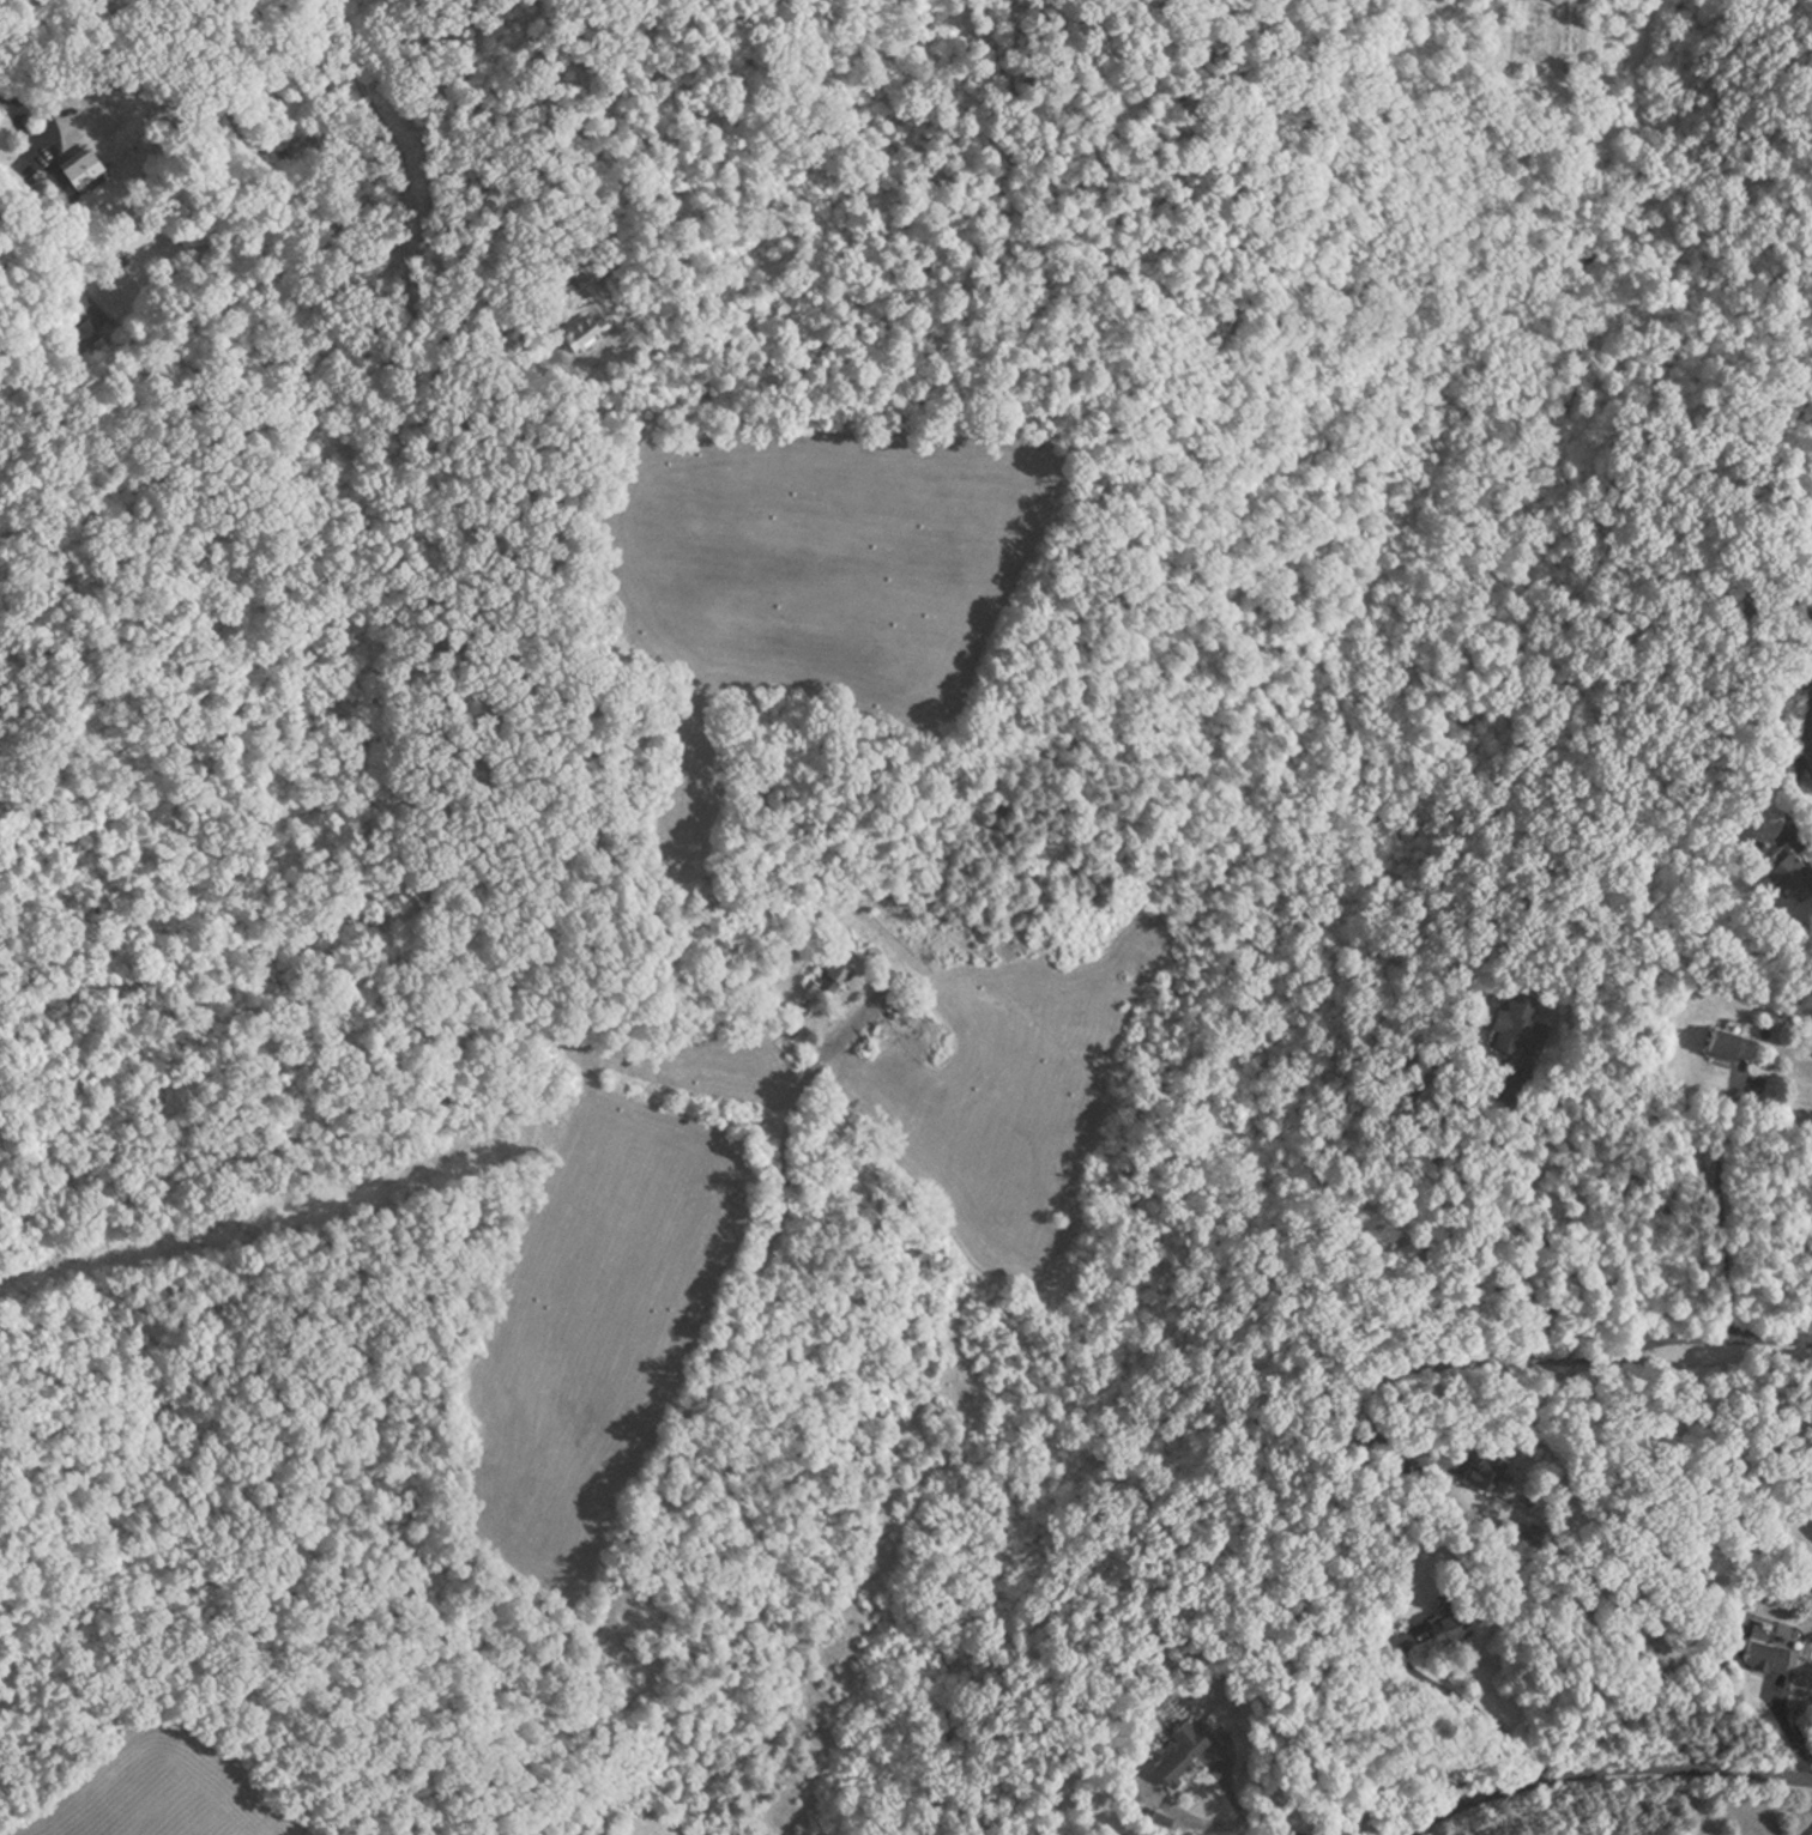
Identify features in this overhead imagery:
road: (12, 95)
road: (1801, 737)
road: (1467, 1181)
road: (1714, 1201)
road: (1726, 1338)
road: (1445, 1353)
road: (1467, 1702)
road: (1600, 1764)
road: (1234, 1815)
road: (1805, 1827)

